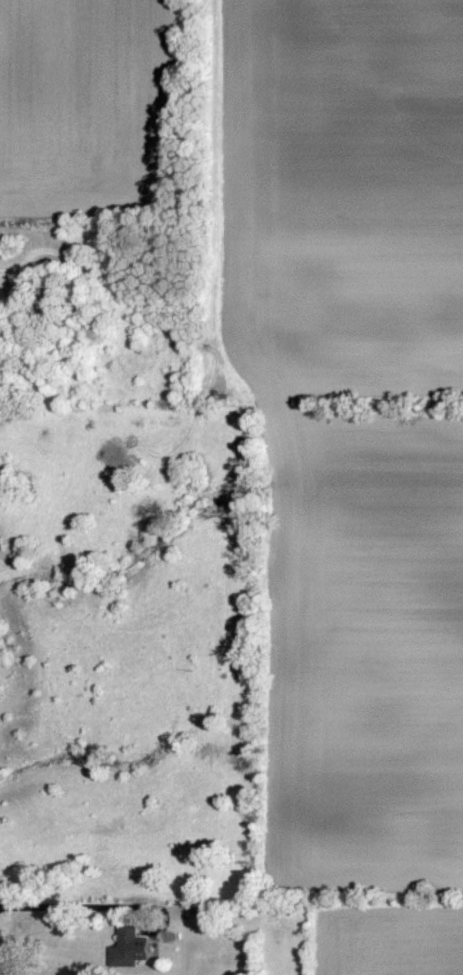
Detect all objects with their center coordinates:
road: (73, 906)
building: (134, 945)
road: (2, 964)

